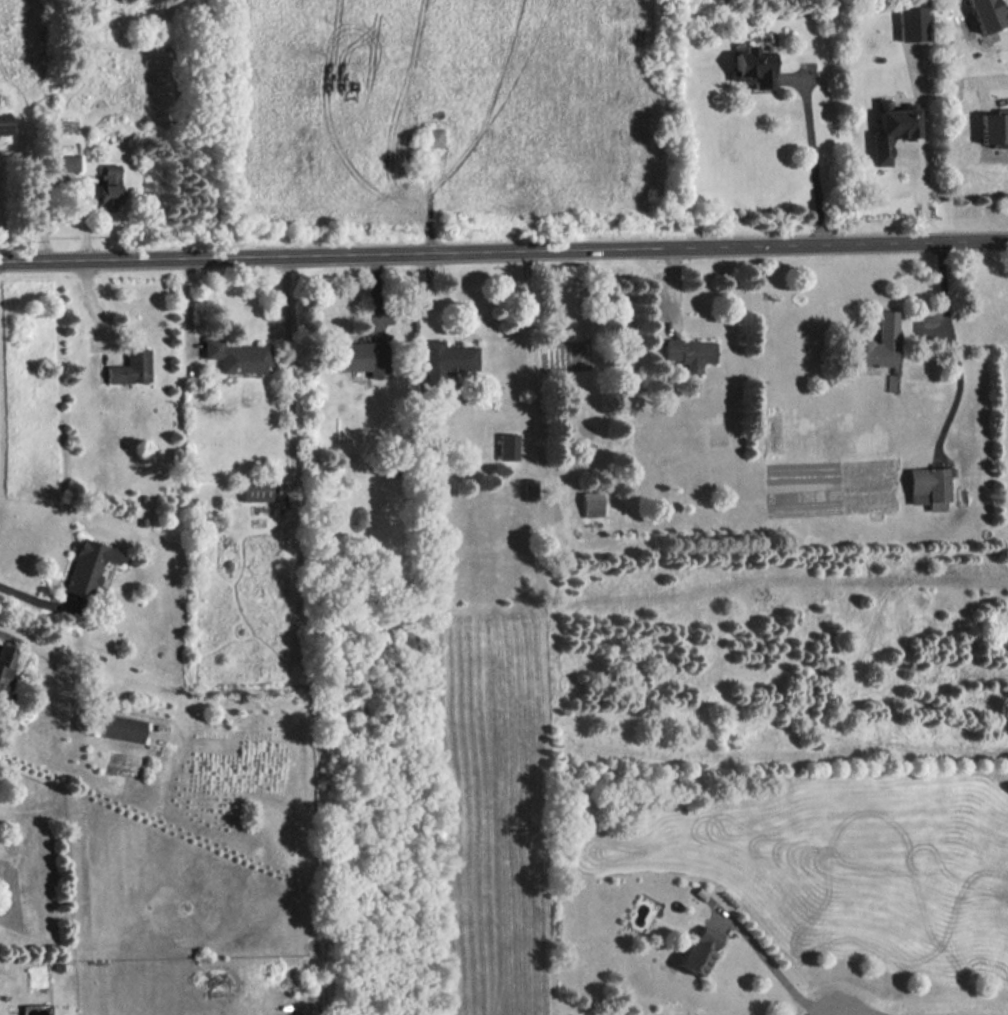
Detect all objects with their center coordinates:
building: (988, 14)
building: (911, 22)
road: (474, 66)
building: (752, 66)
building: (2, 122)
building: (994, 127)
building: (890, 130)
building: (433, 136)
building: (66, 162)
road: (815, 168)
building: (108, 185)
road: (925, 192)
road: (504, 252)
building: (877, 343)
road: (952, 348)
building: (689, 352)
building: (237, 355)
building: (362, 356)
building: (447, 358)
building: (131, 366)
building: (507, 445)
building: (930, 486)
building: (530, 488)
building: (256, 489)
building: (591, 503)
building: (89, 566)
road: (35, 601)
building: (5, 664)
building: (124, 727)
building: (698, 950)
road: (773, 966)

